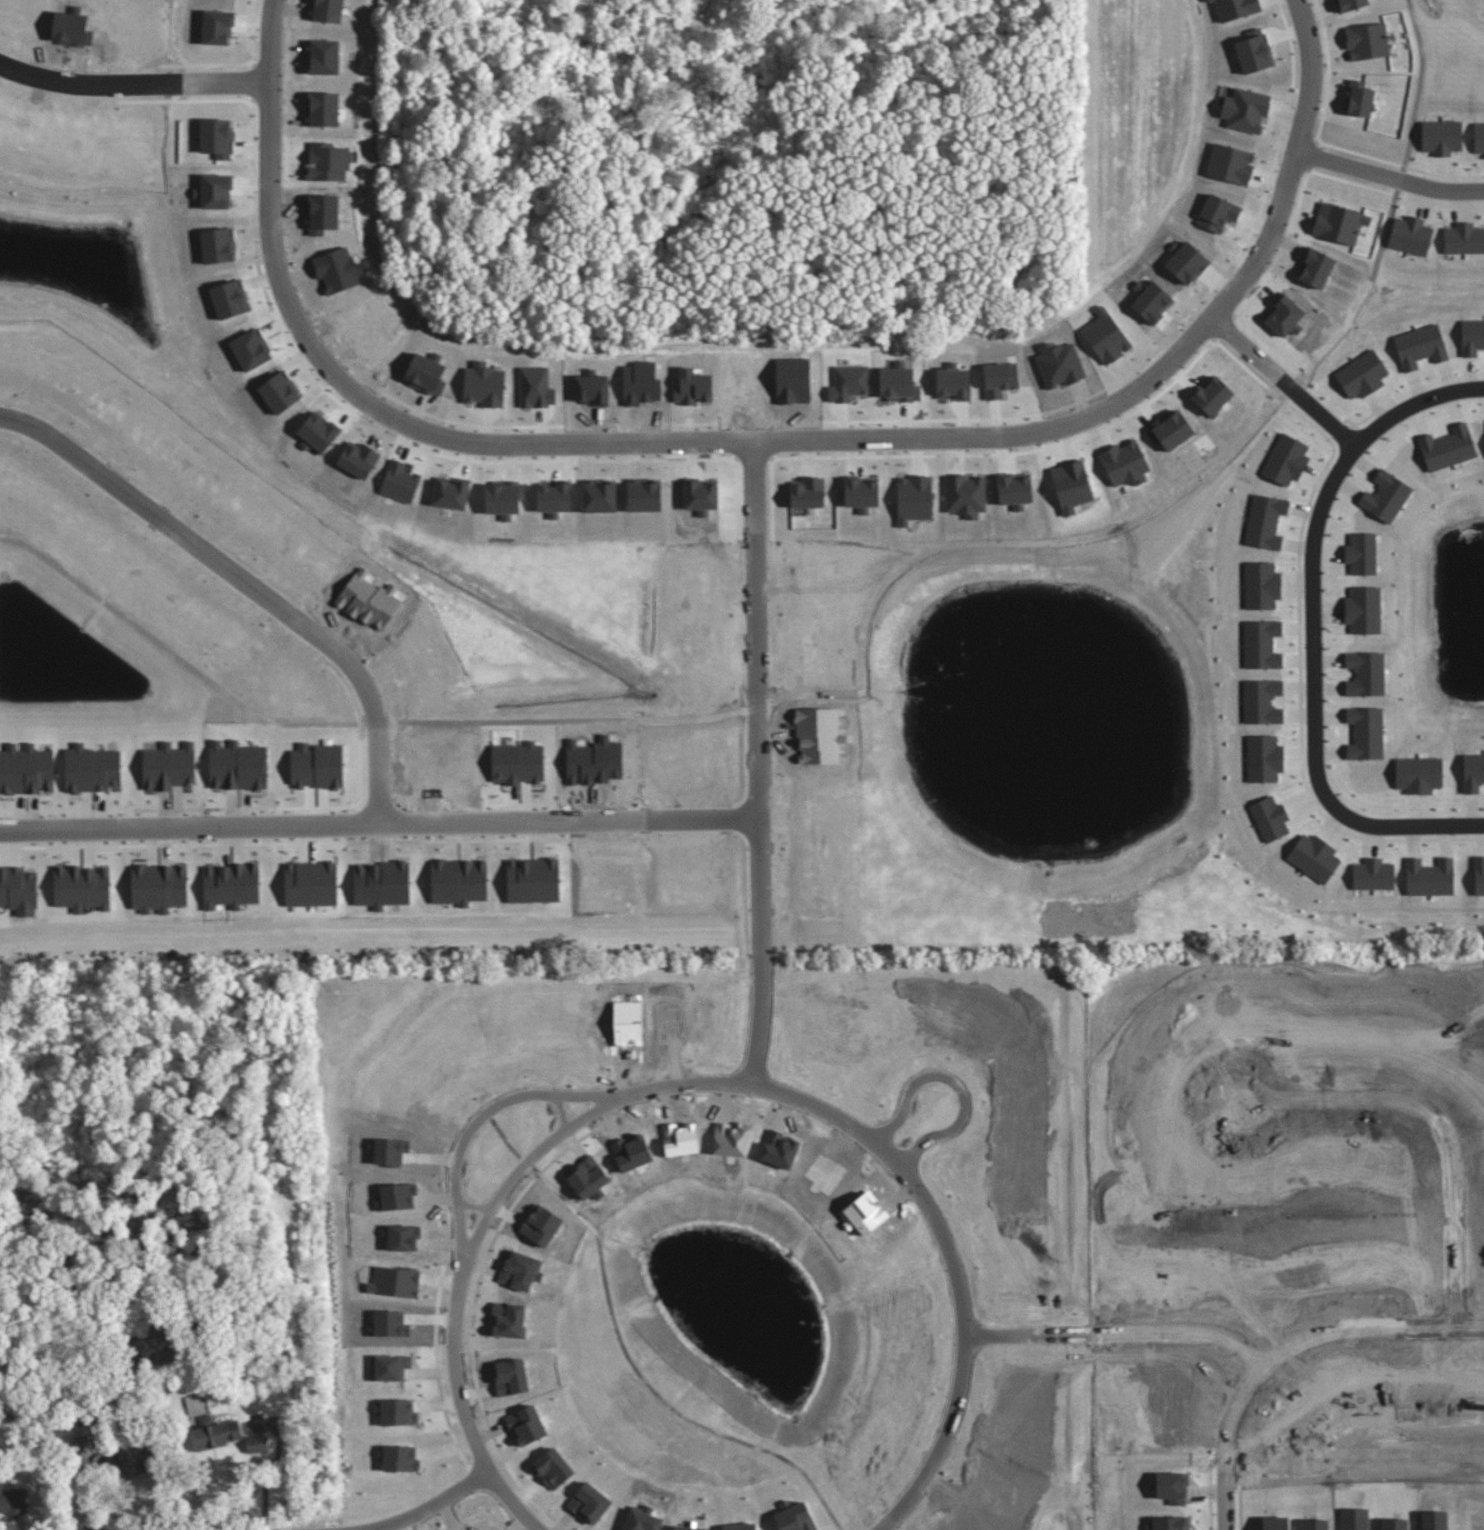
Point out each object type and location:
building: (1351, 4)
building: (1234, 8)
building: (1367, 40)
building: (1253, 51)
road: (1310, 77)
road: (133, 88)
road: (1419, 89)
building: (1359, 98)
building: (1246, 109)
building: (1441, 136)
building: (1478, 137)
road: (1391, 177)
road: (1293, 182)
building: (1339, 222)
road: (1388, 232)
building: (1410, 234)
building: (1463, 238)
road: (1286, 382)
road: (1414, 404)
road: (656, 442)
road: (206, 549)
road: (1312, 703)
road: (767, 708)
building: (518, 762)
road: (759, 762)
road: (379, 771)
road: (703, 818)
road: (323, 822)
building: (82, 887)
building: (18, 890)
road: (707, 1079)
road: (966, 1090)
road: (569, 1110)
road: (486, 1123)
road: (1448, 1128)
road: (478, 1208)
road: (1326, 1336)
road: (1122, 1338)
road: (648, 1377)
building: (215, 1432)
building: (257, 1443)
road: (1230, 1492)
building: (12, 1500)
road: (427, 1504)

